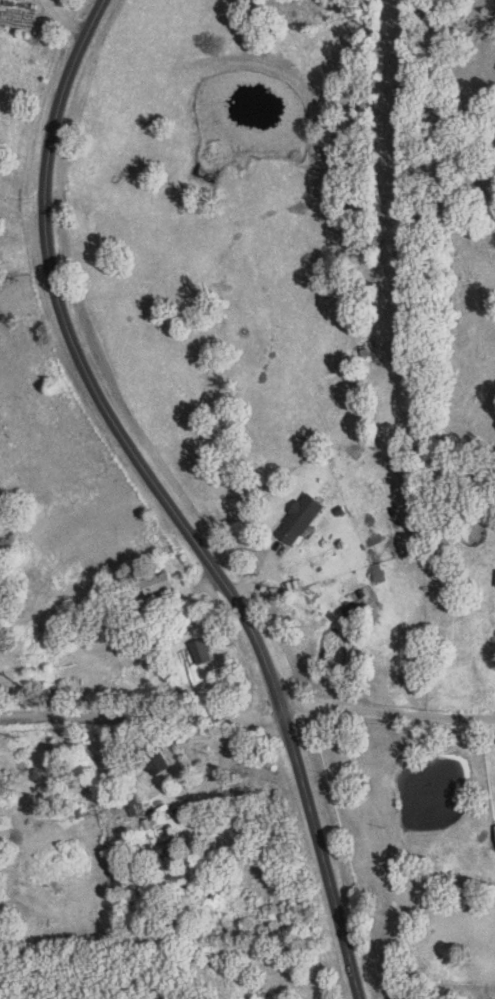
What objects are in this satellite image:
road: (165, 499)
building: (304, 519)
building: (160, 585)
building: (205, 651)
road: (142, 712)
road: (389, 716)

